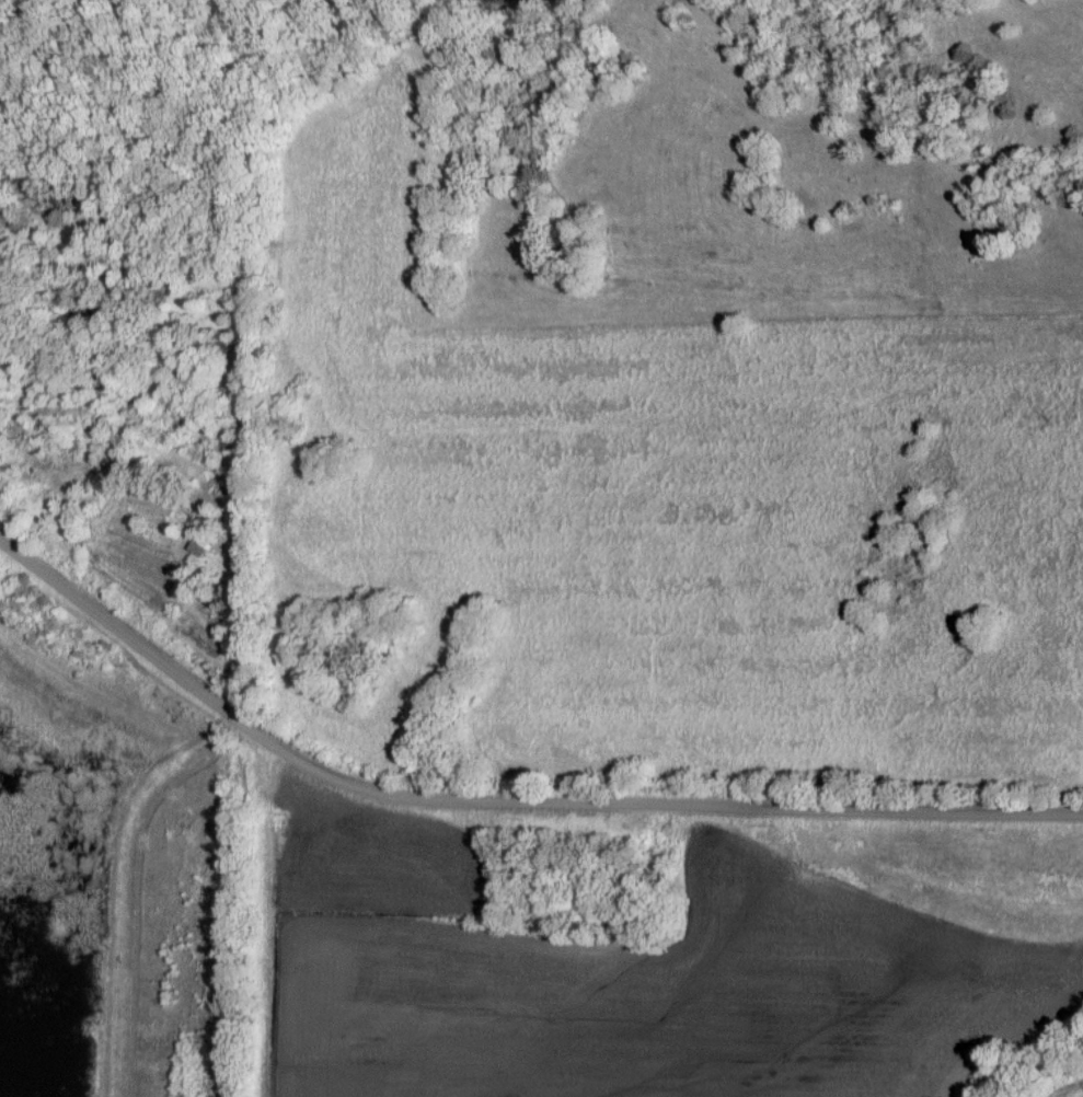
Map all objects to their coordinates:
road: (243, 500)
road: (503, 799)

